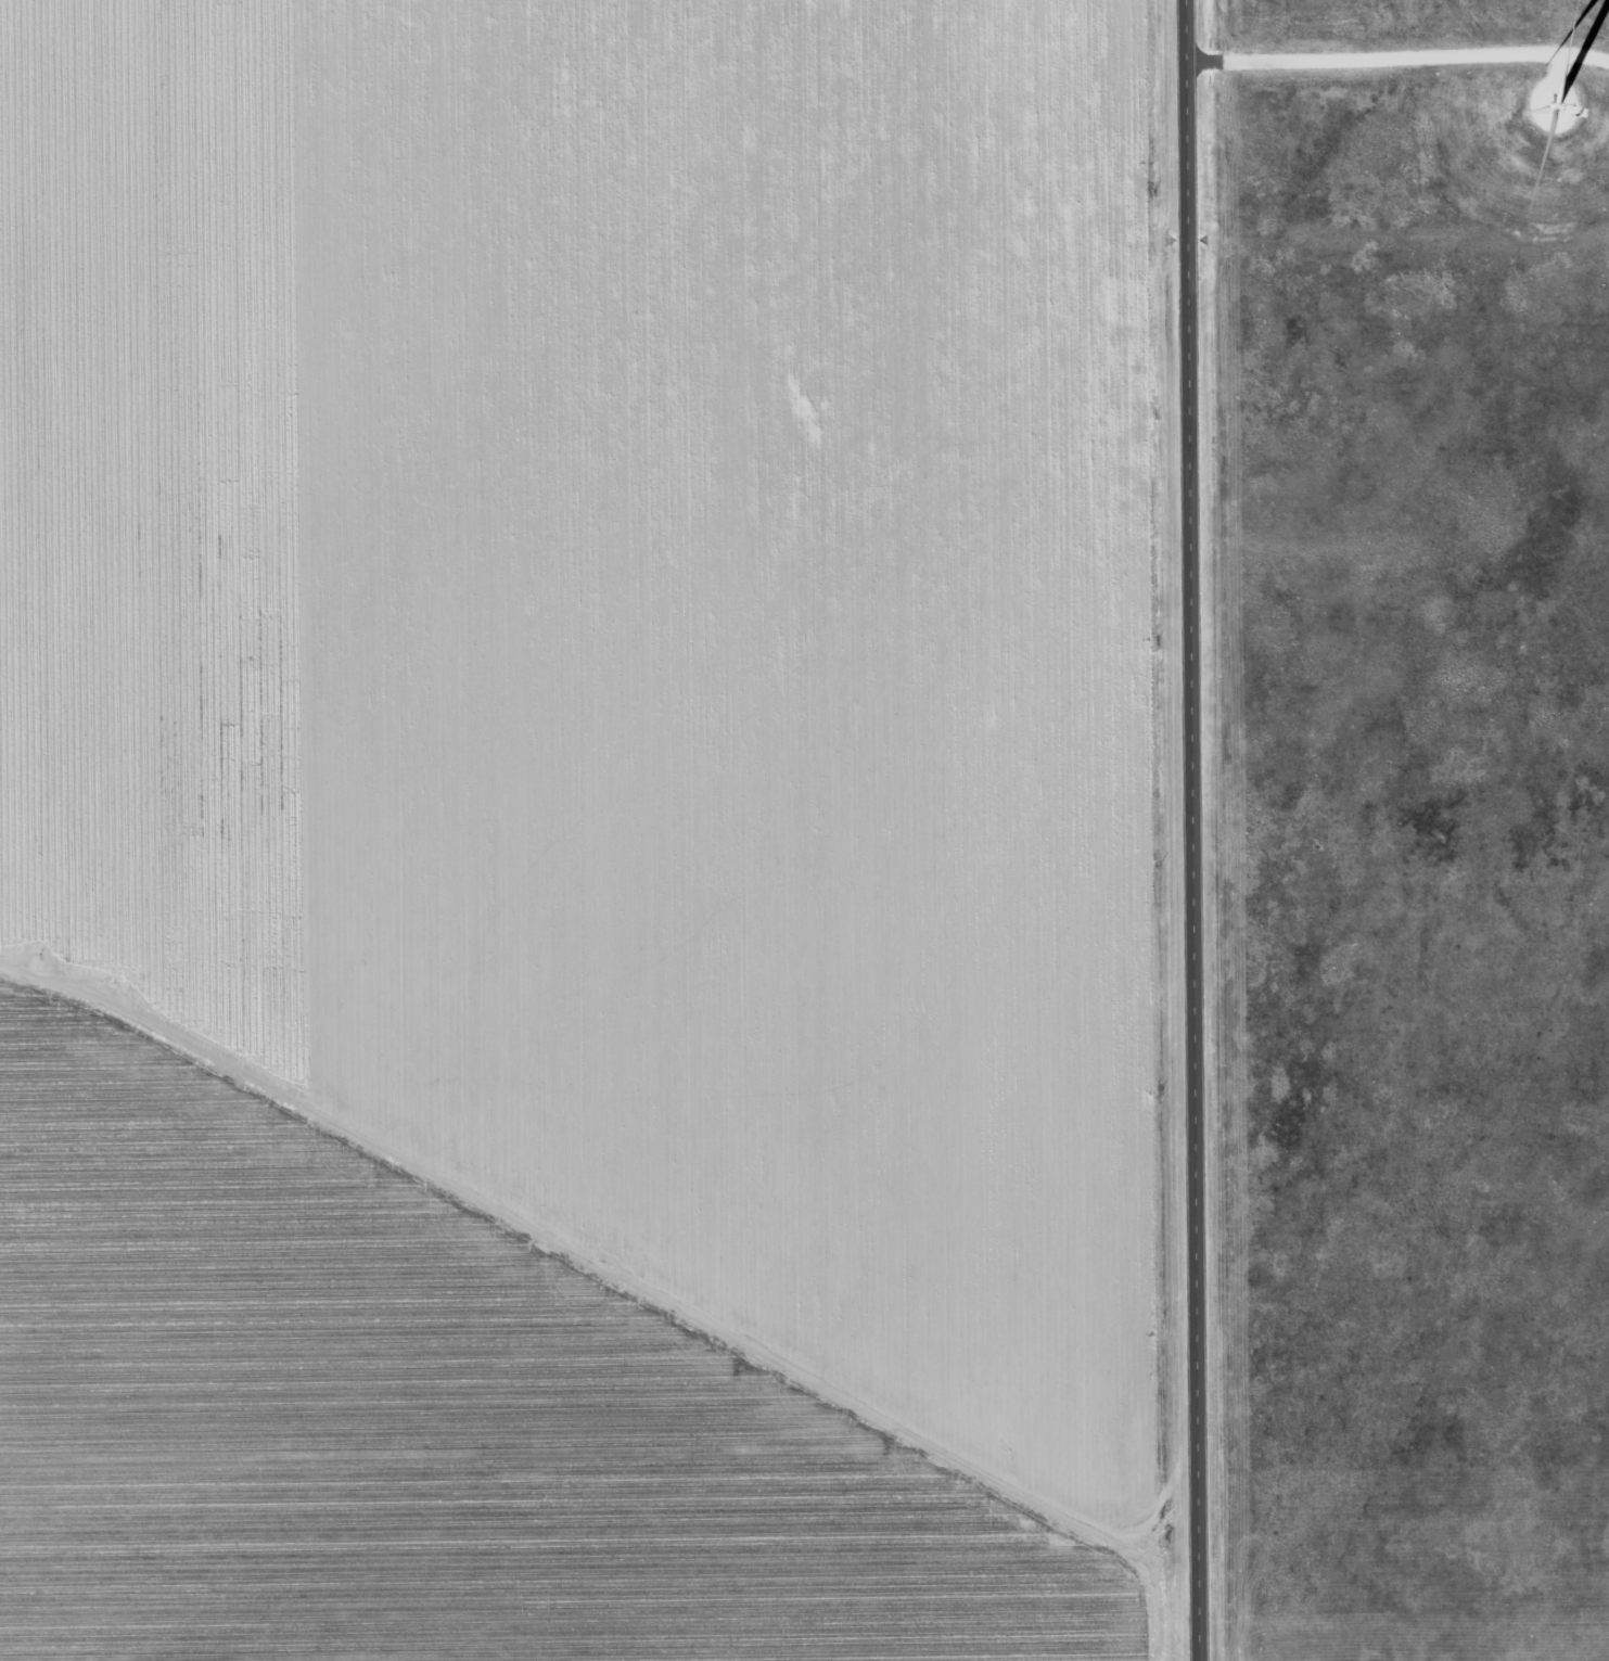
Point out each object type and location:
wind turbine: (1551, 110)
road: (1228, 830)

